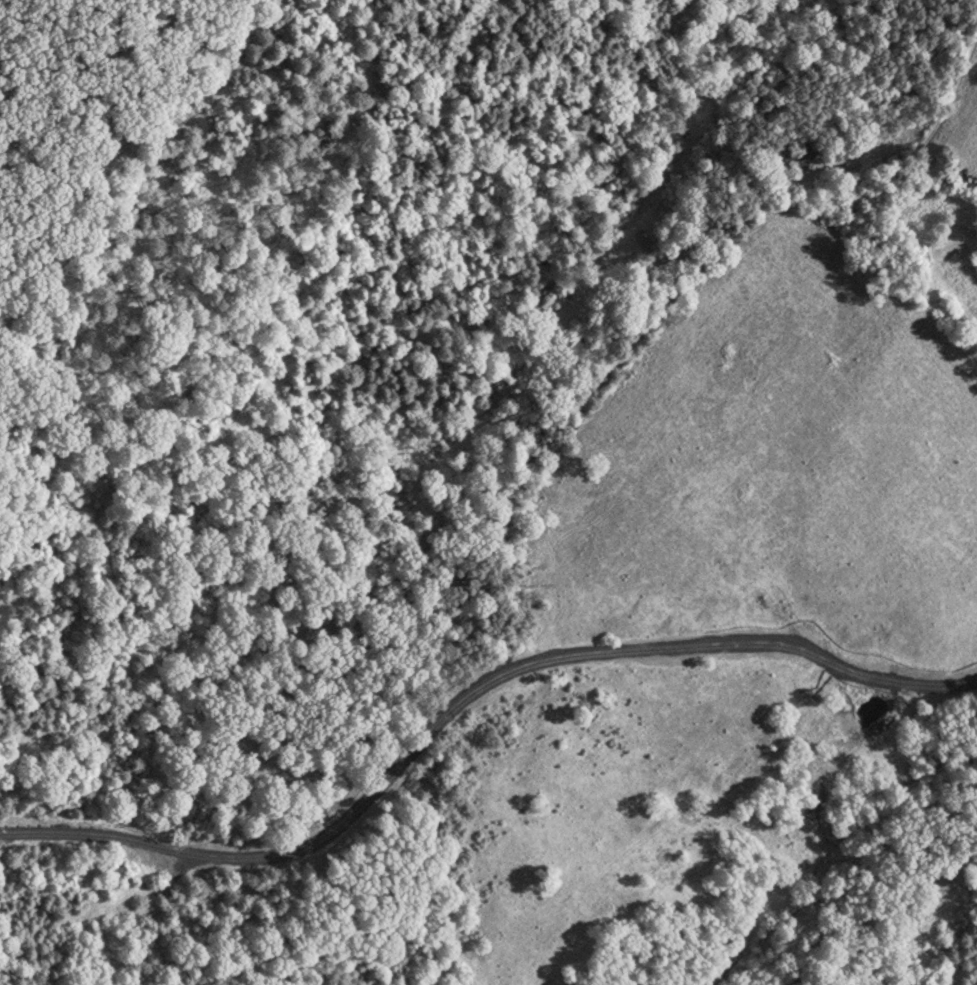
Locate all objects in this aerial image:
road: (924, 158)
road: (512, 674)
road: (138, 850)

